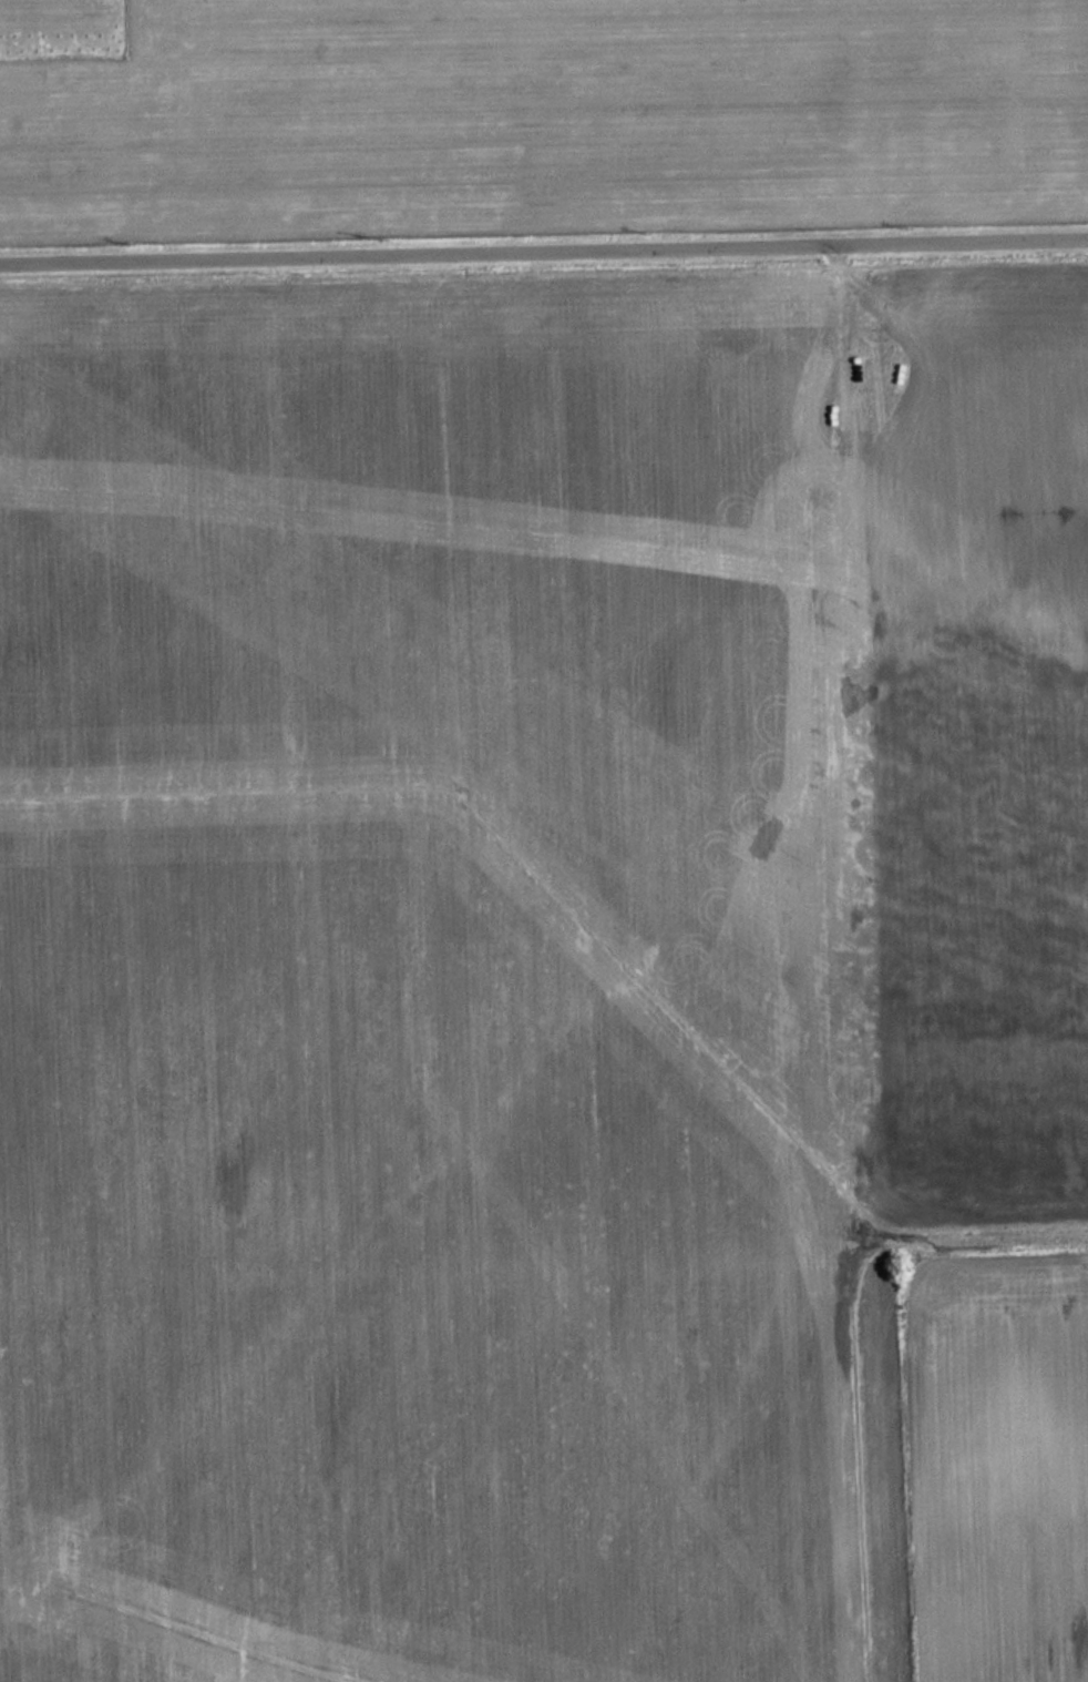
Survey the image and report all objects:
road: (544, 247)

